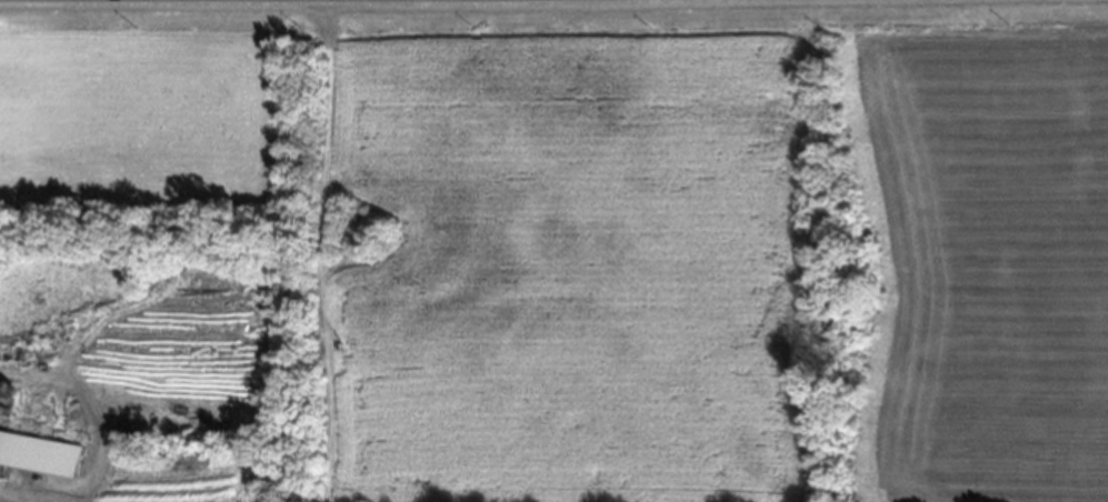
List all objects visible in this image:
road: (11, 0)

